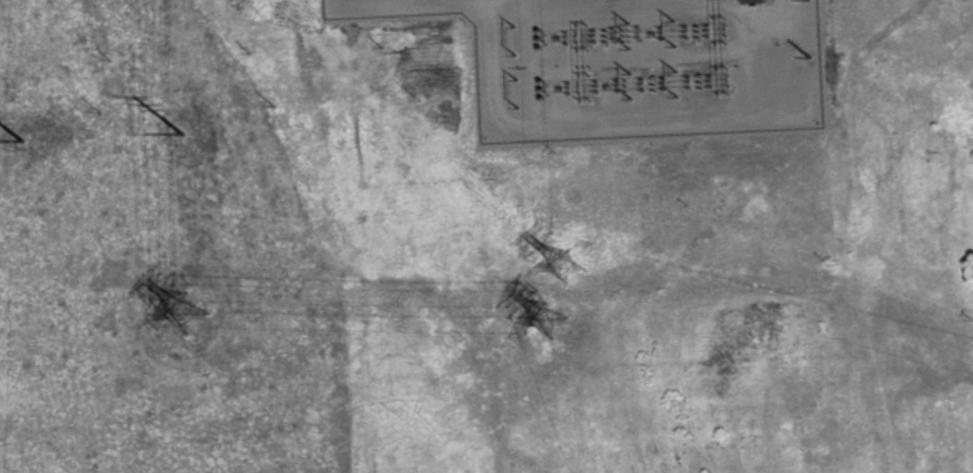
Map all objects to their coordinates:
building: (756, 1)
power tower: (809, 1)
power tower: (810, 59)
power substation: (656, 63)
road: (738, 113)
power tower: (188, 136)
power tower: (25, 141)
power tower: (569, 265)
power tower: (188, 315)
power tower: (555, 322)

